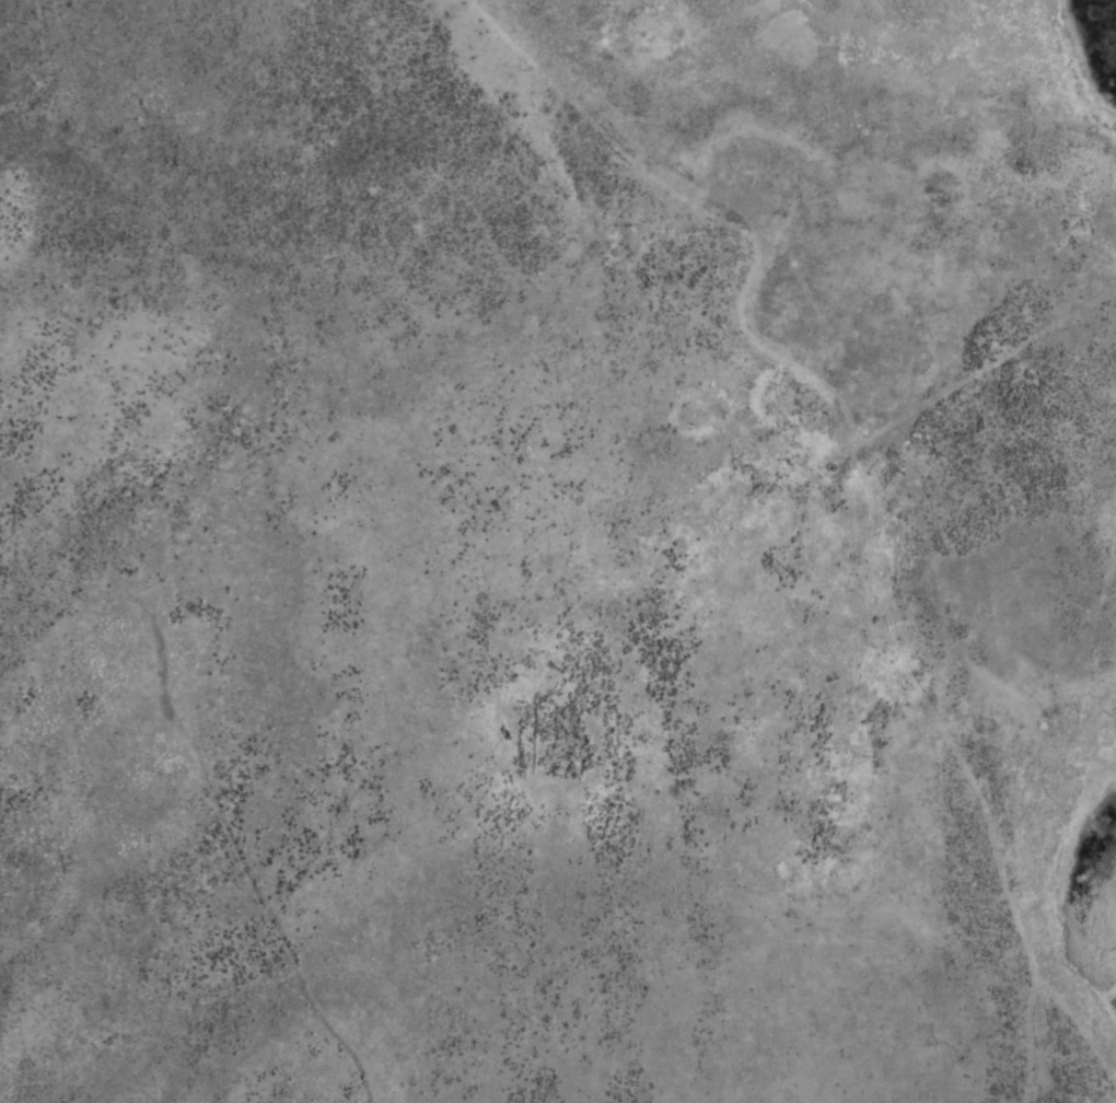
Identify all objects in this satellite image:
crop: (558, 551)
building: (547, 738)

